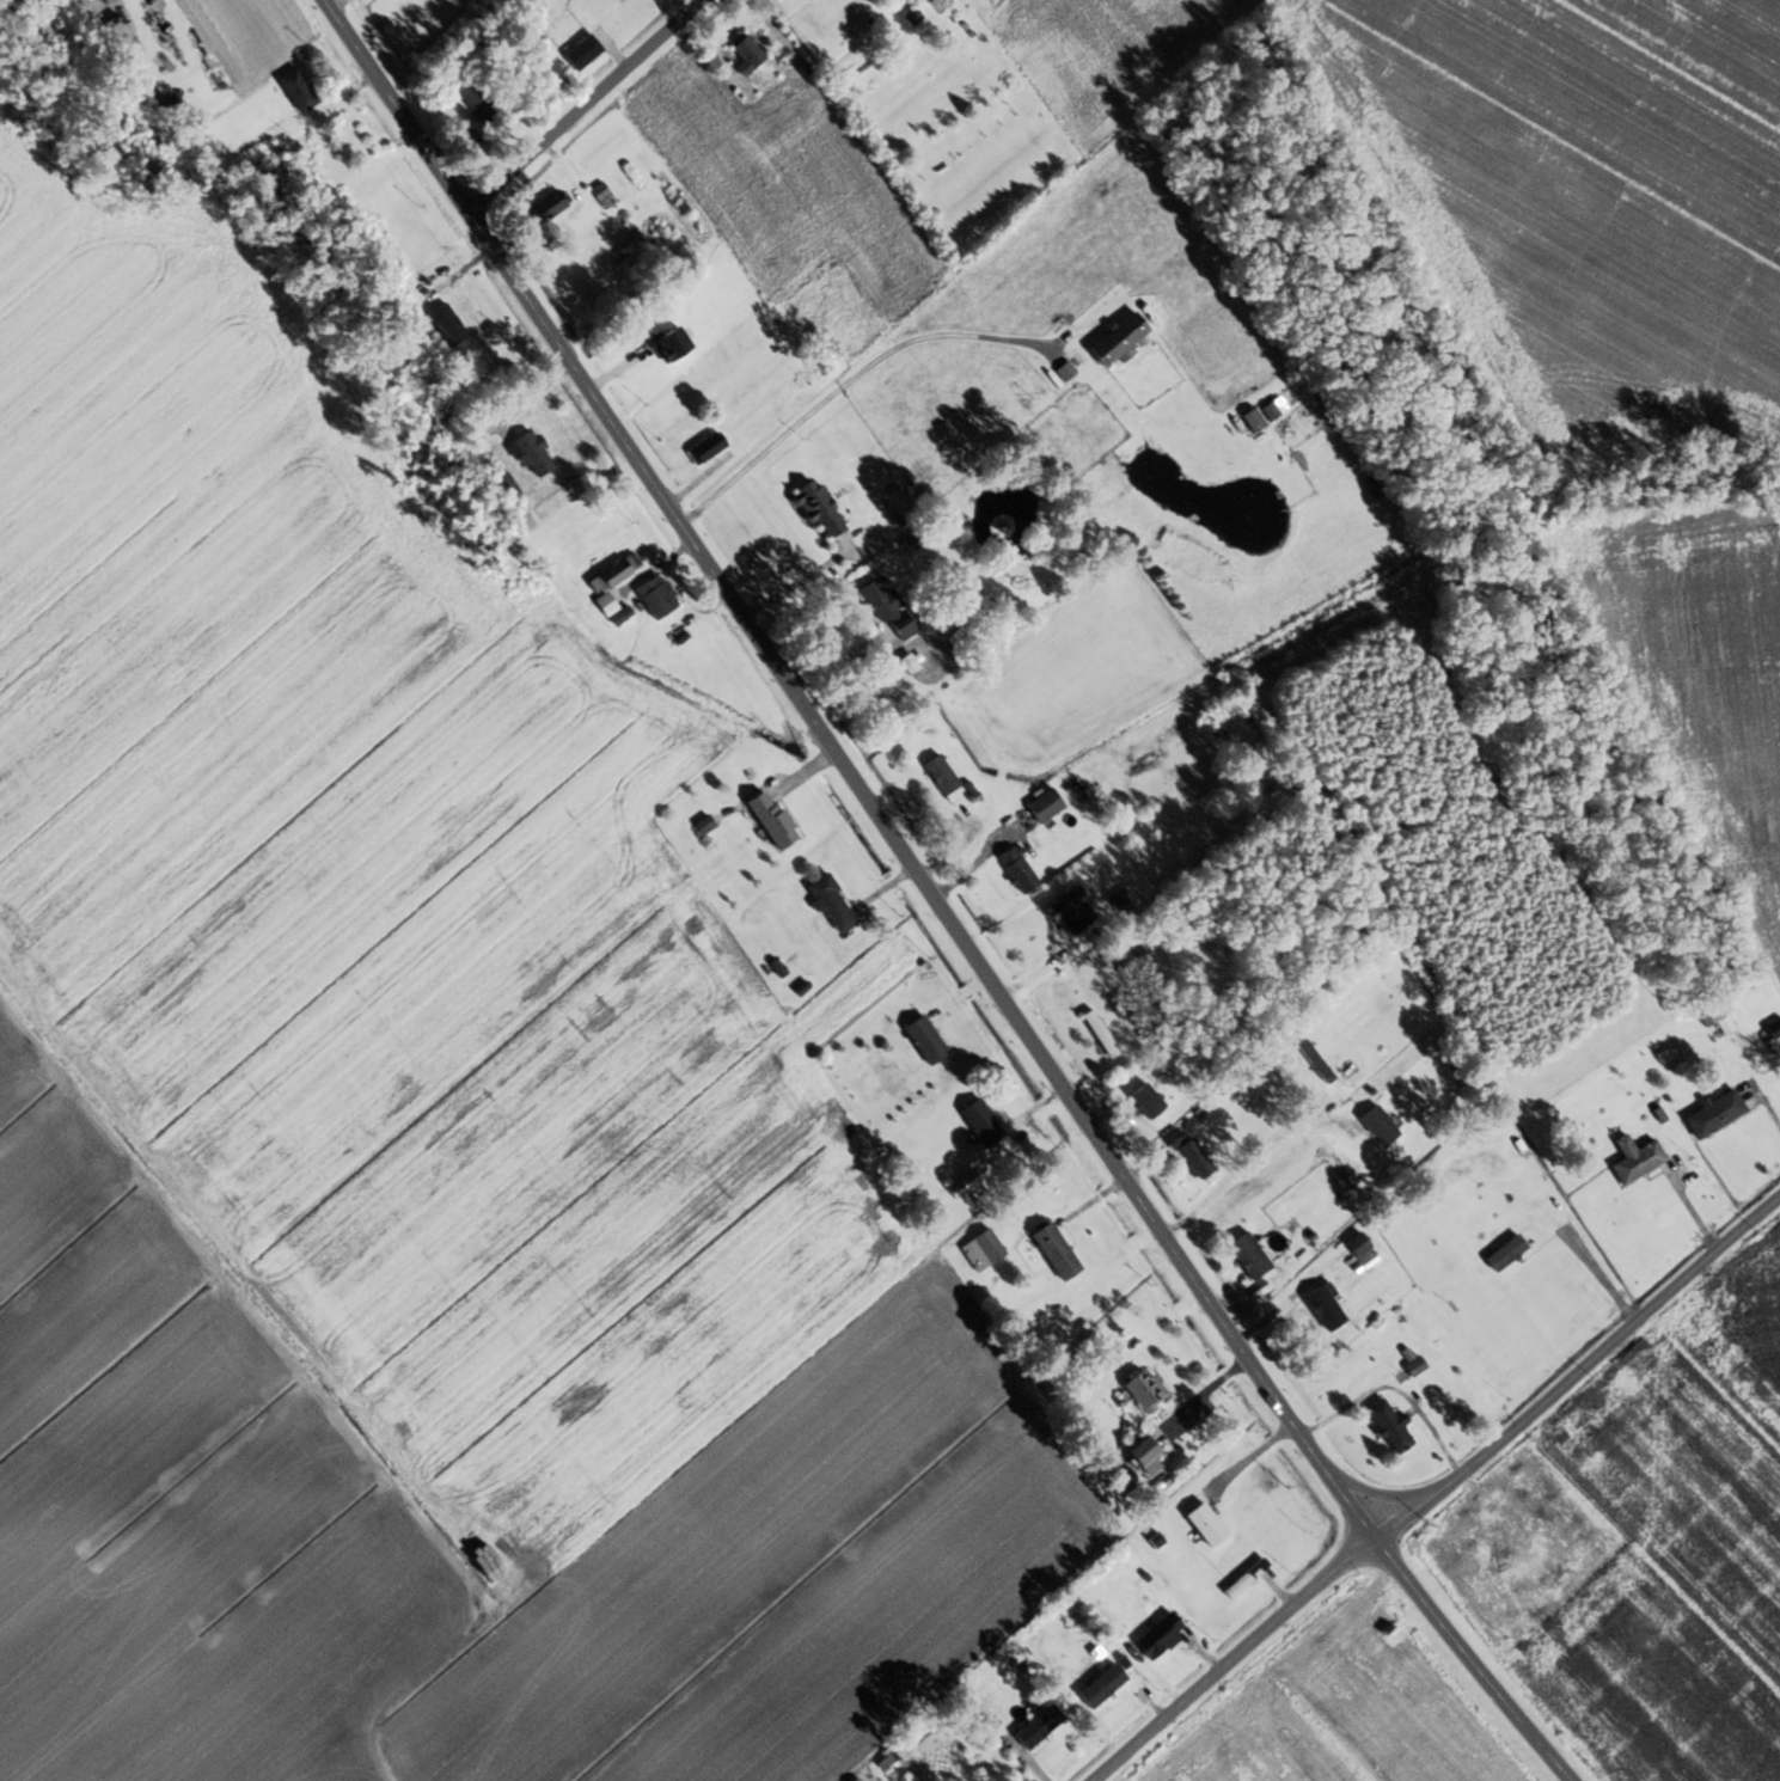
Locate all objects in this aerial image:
building: (808, 0)
building: (936, 1)
building: (915, 17)
building: (748, 54)
building: (300, 90)
building: (479, 103)
road: (591, 108)
building: (604, 195)
building: (550, 207)
building: (449, 325)
building: (1121, 338)
road: (846, 381)
building: (1261, 417)
building: (709, 448)
building: (533, 455)
building: (820, 509)
building: (616, 574)
building: (657, 598)
building: (888, 607)
building: (622, 617)
road: (1084, 692)
building: (943, 776)
building: (1046, 807)
building: (775, 820)
building: (1019, 870)
road: (935, 900)
building: (833, 904)
building: (1073, 912)
building: (1723, 1021)
building: (1775, 1028)
building: (1102, 1034)
building: (928, 1041)
building: (1314, 1061)
building: (1149, 1102)
building: (1717, 1115)
building: (984, 1124)
building: (1381, 1126)
building: (1192, 1156)
building: (1638, 1159)
road: (1249, 1161)
building: (964, 1185)
building: (1359, 1246)
building: (983, 1251)
building: (1058, 1251)
building: (1509, 1254)
building: (1252, 1257)
road: (1590, 1265)
building: (1327, 1308)
building: (1417, 1366)
road: (1580, 1376)
building: (1148, 1390)
road: (310, 1413)
building: (1391, 1427)
building: (1146, 1452)
road: (1246, 1462)
building: (1209, 1525)
building: (1247, 1578)
building: (1155, 1633)
road: (1236, 1661)
building: (1105, 1685)
building: (1040, 1727)
building: (857, 1780)

